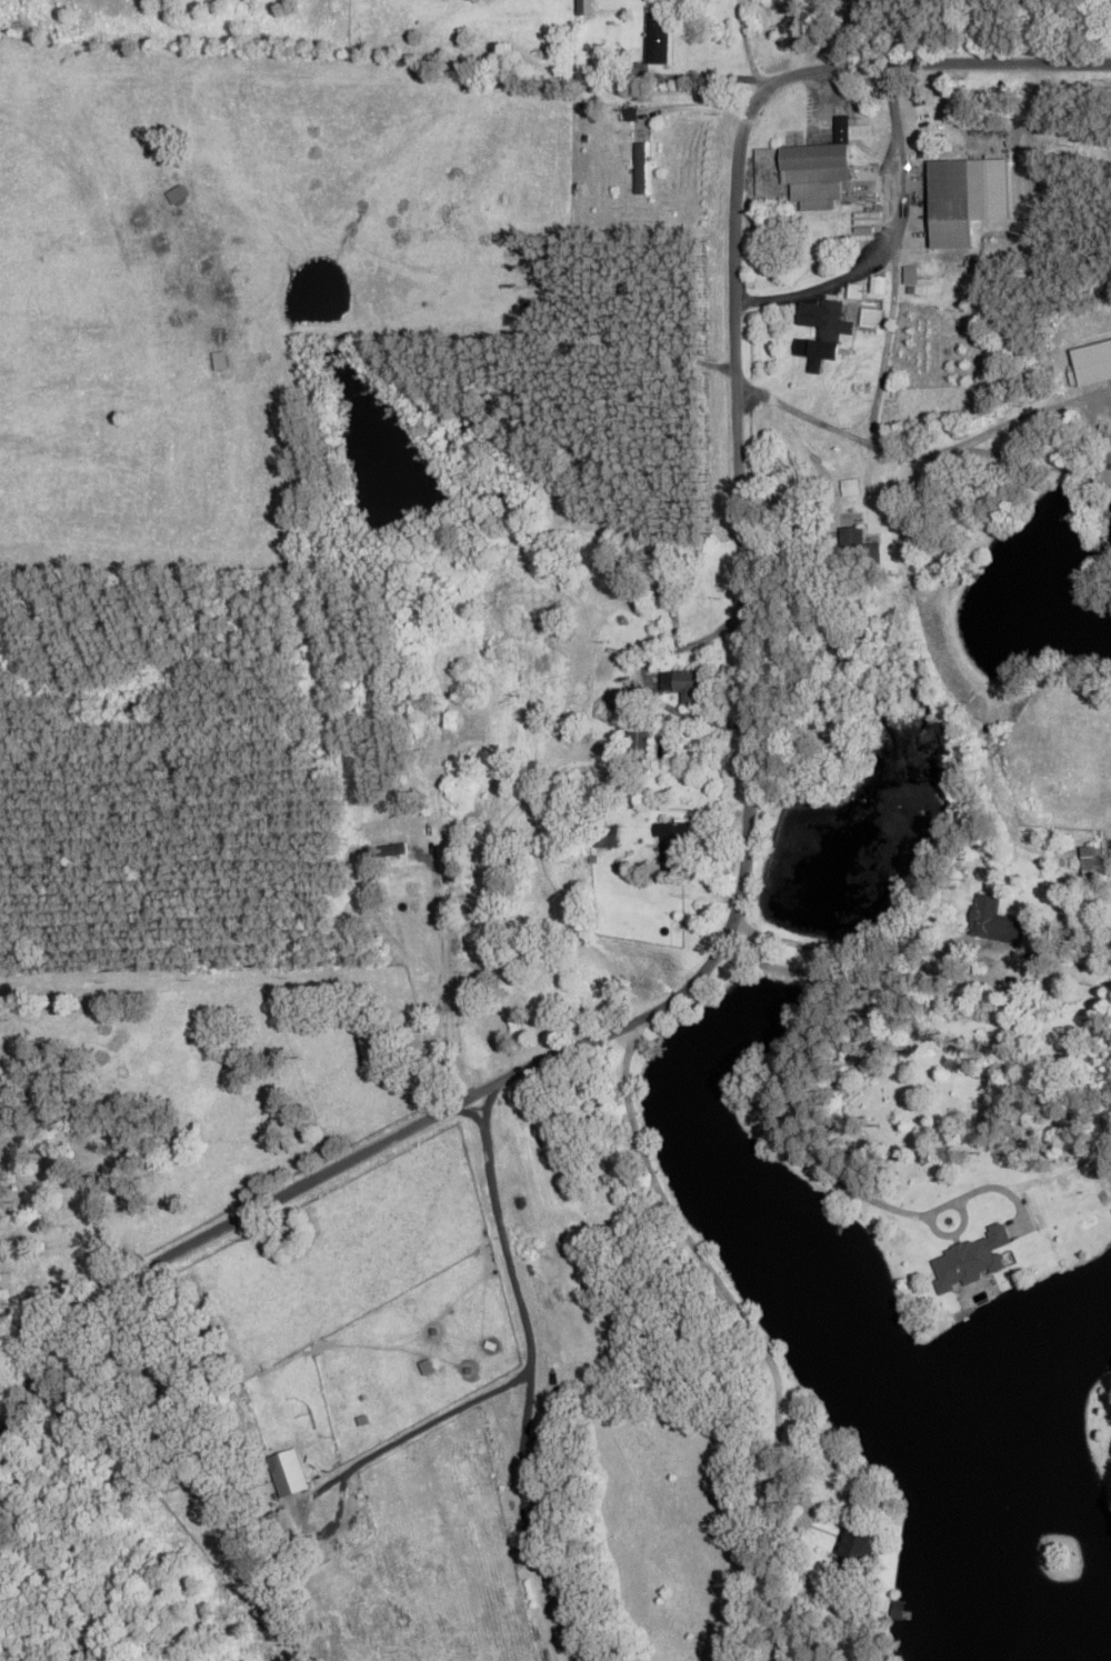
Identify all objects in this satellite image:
building: (584, 8)
building: (655, 40)
building: (641, 163)
building: (819, 170)
building: (954, 202)
building: (824, 329)
building: (1104, 458)
building: (1081, 511)
building: (857, 549)
building: (682, 687)
building: (638, 748)
road: (751, 788)
building: (673, 847)
building: (1091, 858)
building: (994, 922)
road: (948, 967)
building: (498, 1020)
road: (752, 1332)
building: (858, 1547)

